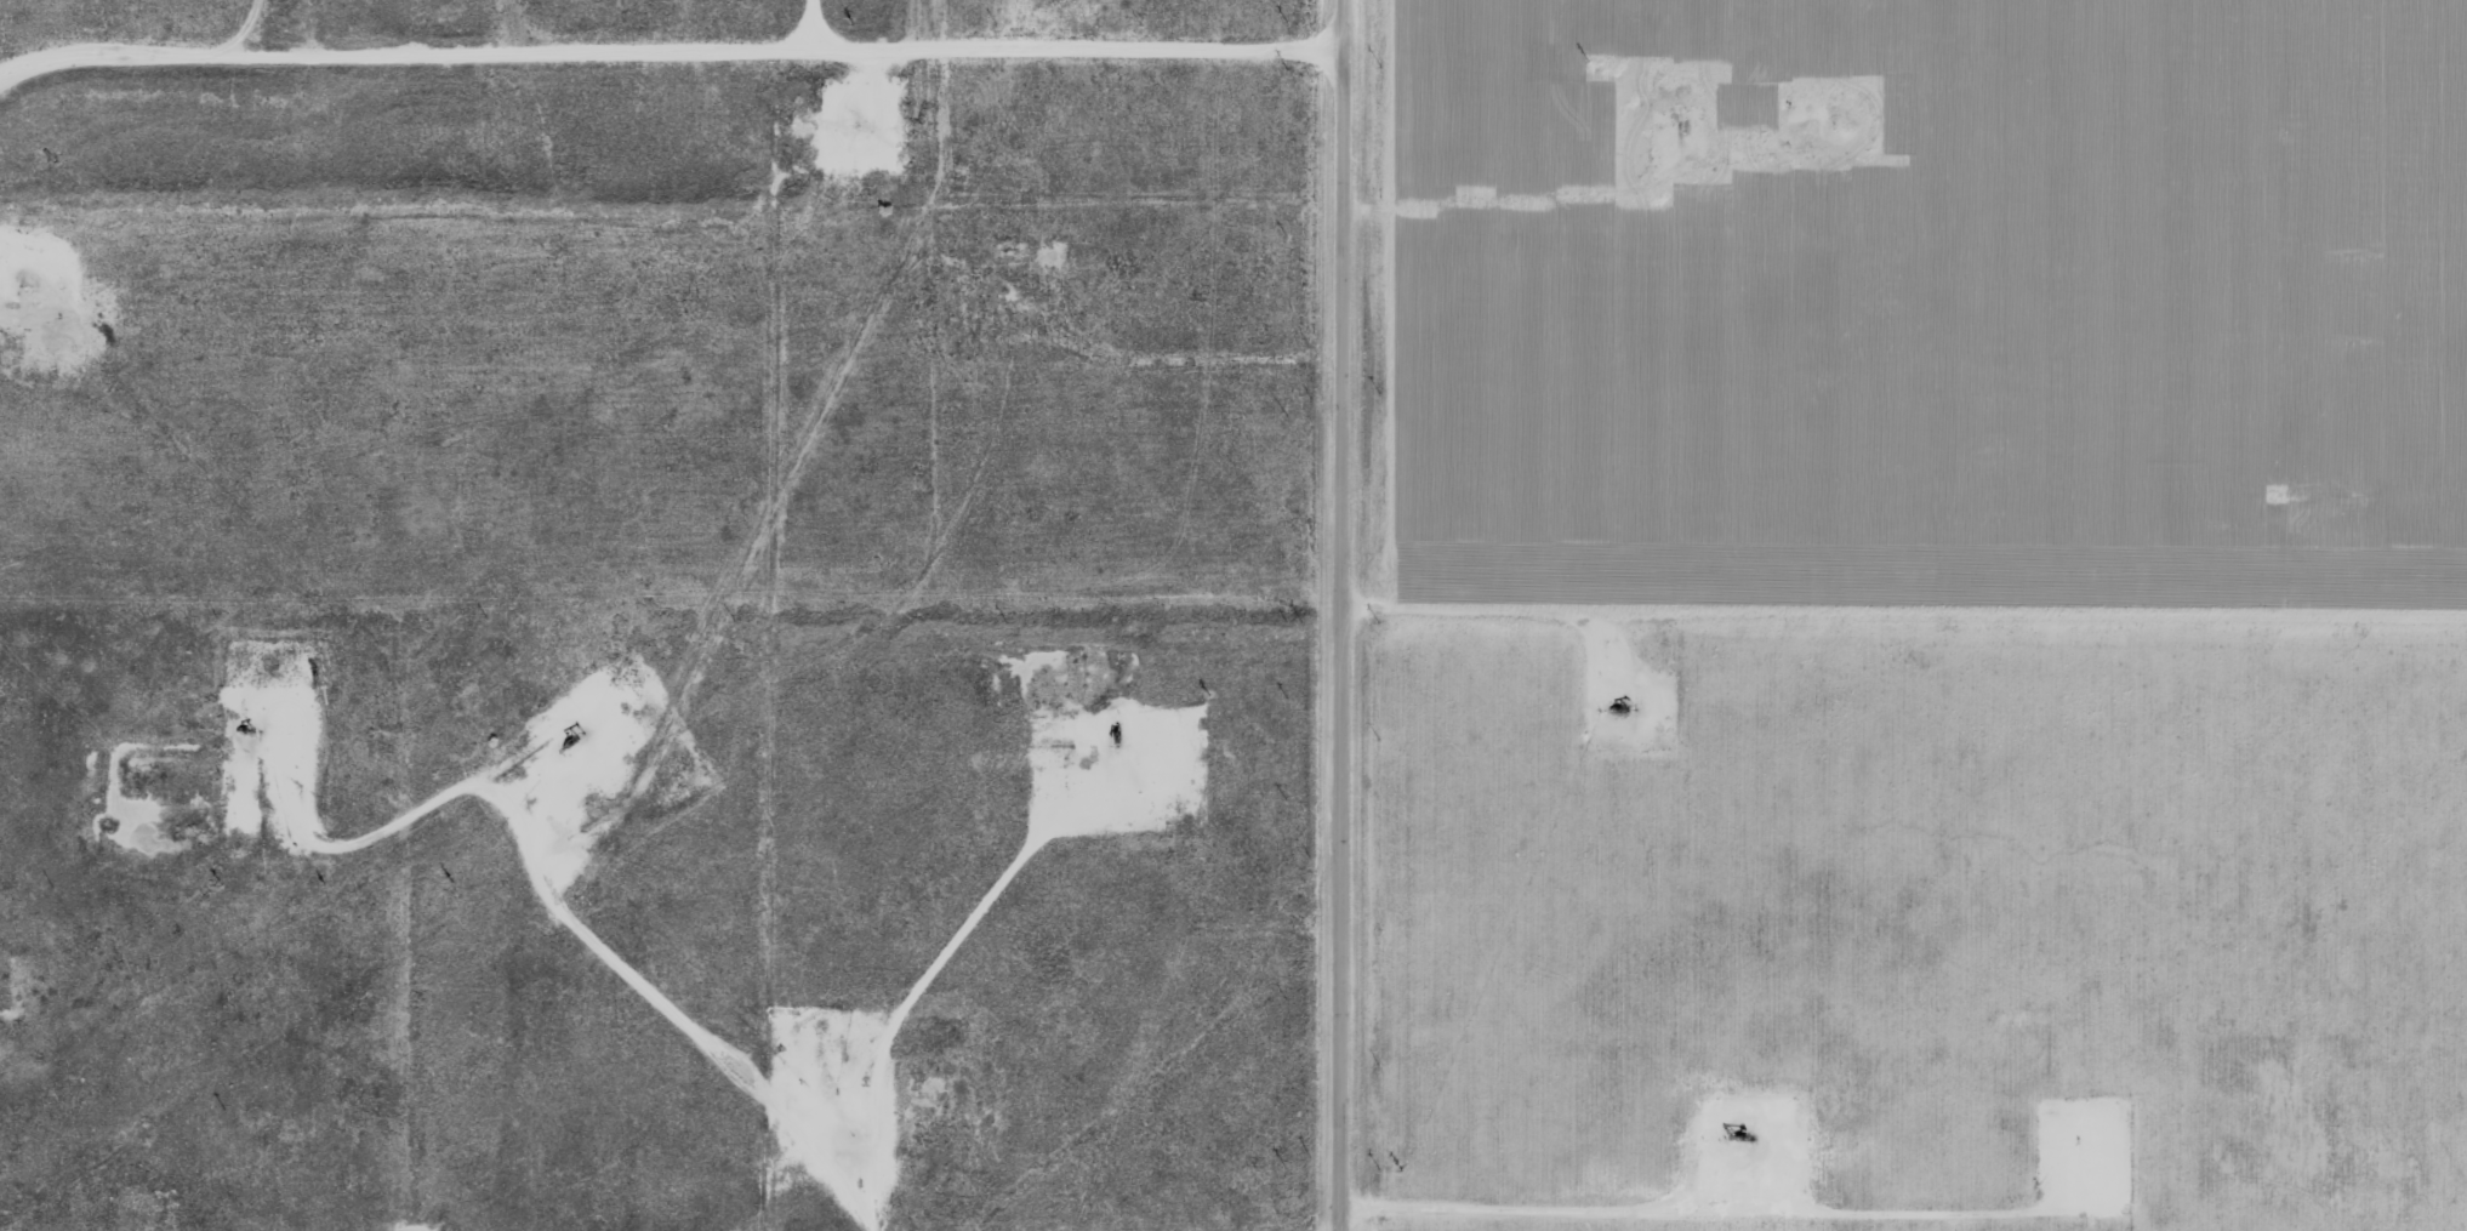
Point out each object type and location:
road: (671, 29)
road: (1344, 615)
petroleum well: (243, 729)
petroleum well: (572, 735)
petroleum well: (1112, 739)
road: (1806, 1076)
petroleum well: (1742, 1134)
road: (1309, 1225)

